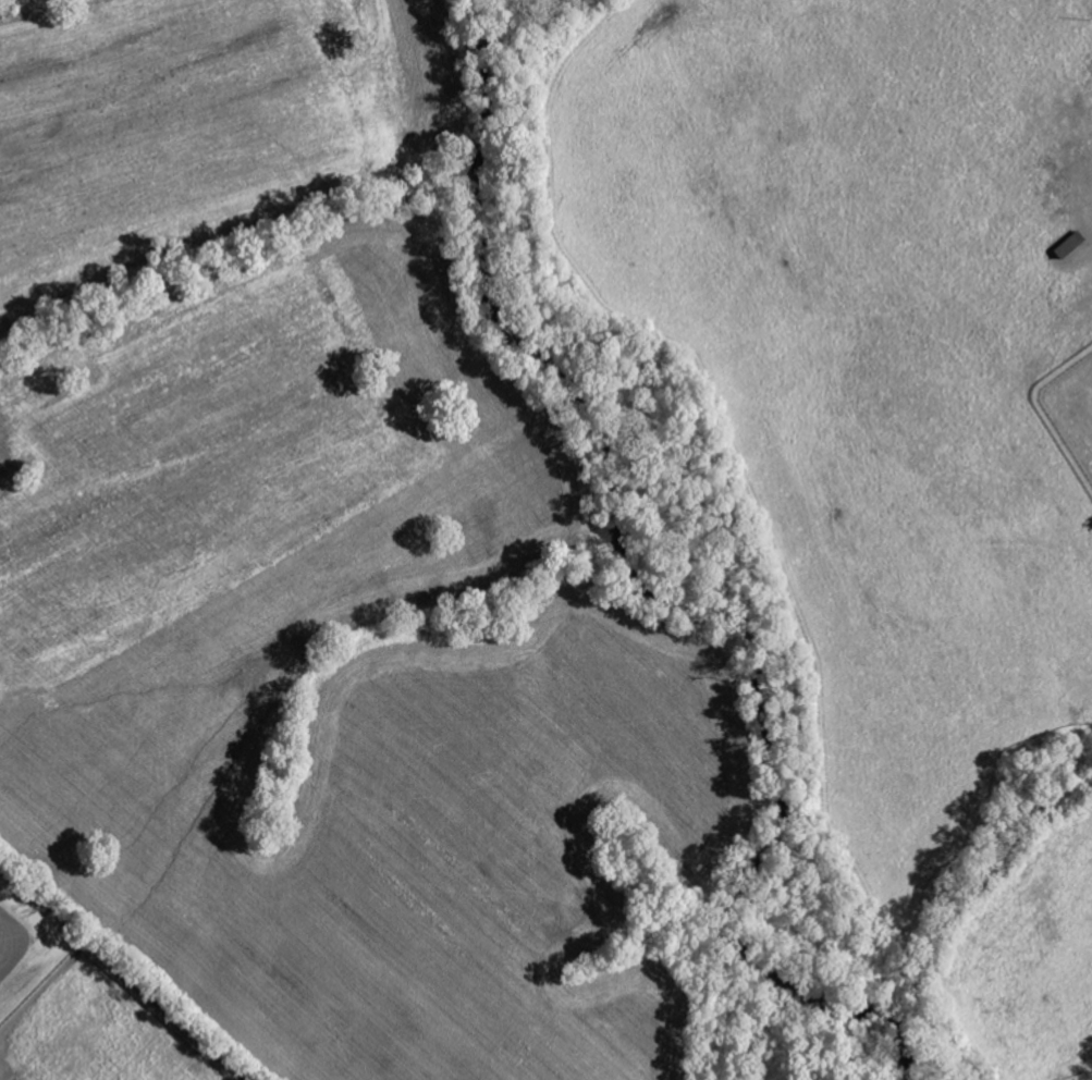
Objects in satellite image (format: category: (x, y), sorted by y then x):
road: (120, 977)

